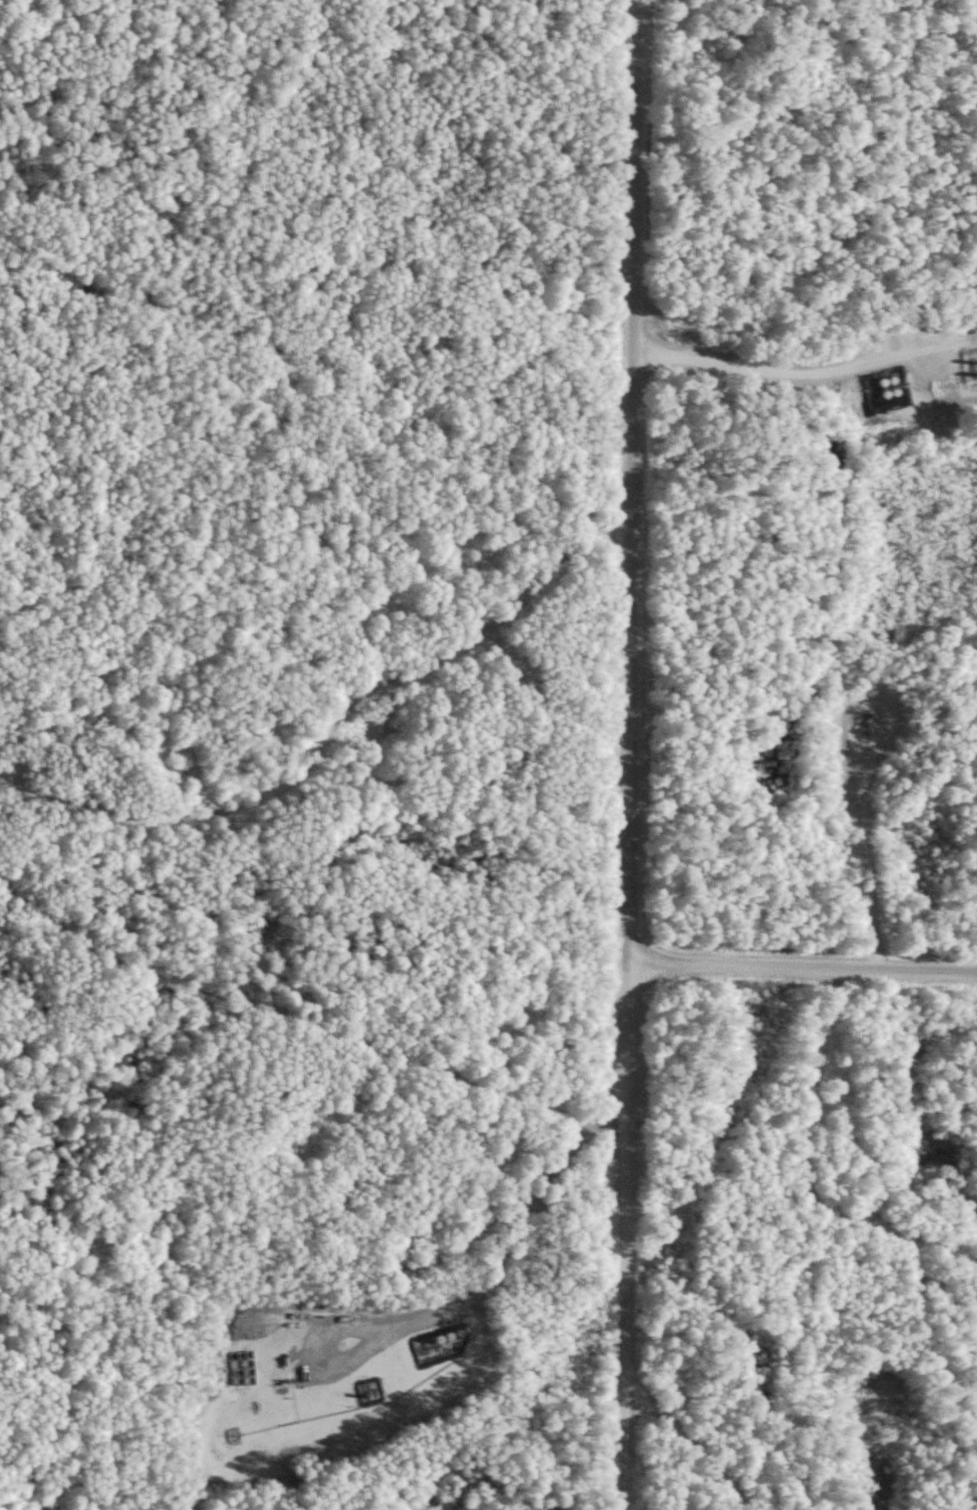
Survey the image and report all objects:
road: (33, 257)
road: (808, 374)
building: (885, 390)
petroleum well: (870, 724)
road: (325, 741)
road: (632, 754)
road: (804, 968)
road: (442, 1330)
road: (157, 1334)
road: (697, 1446)

